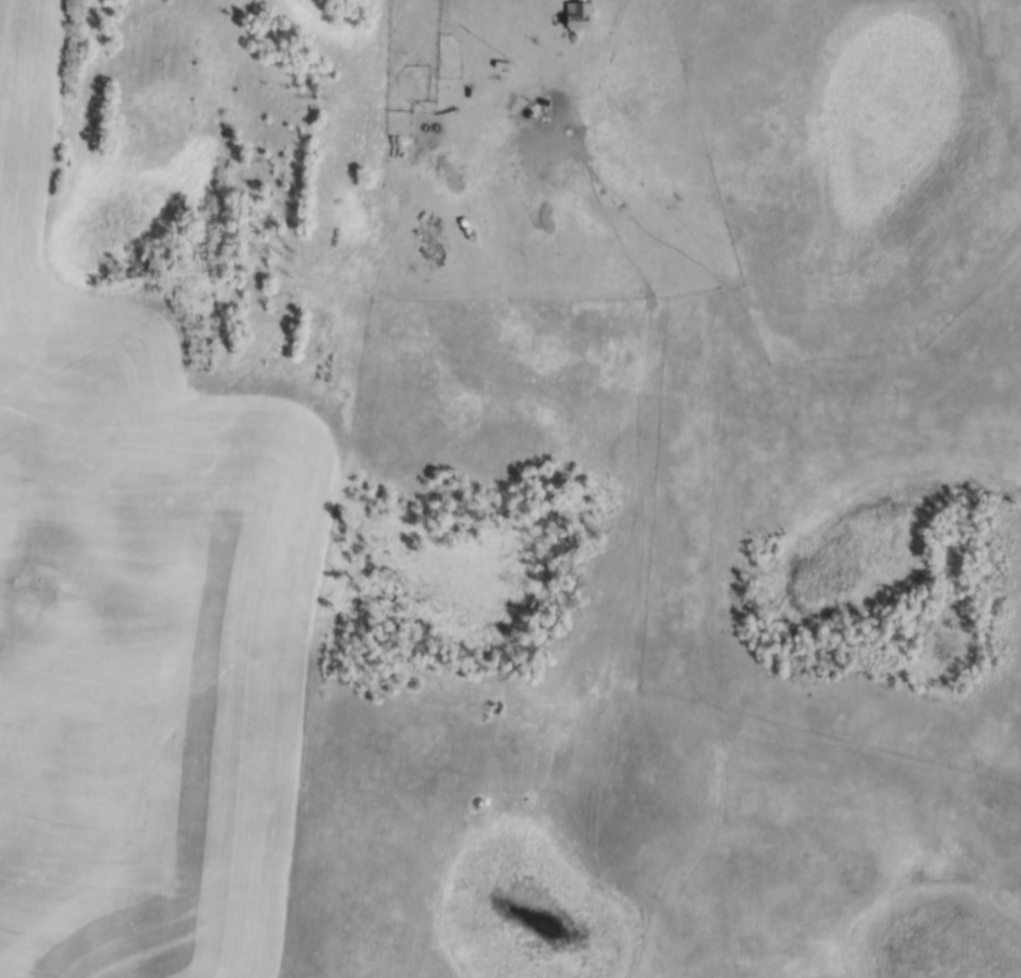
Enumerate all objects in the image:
building: (573, 16)

